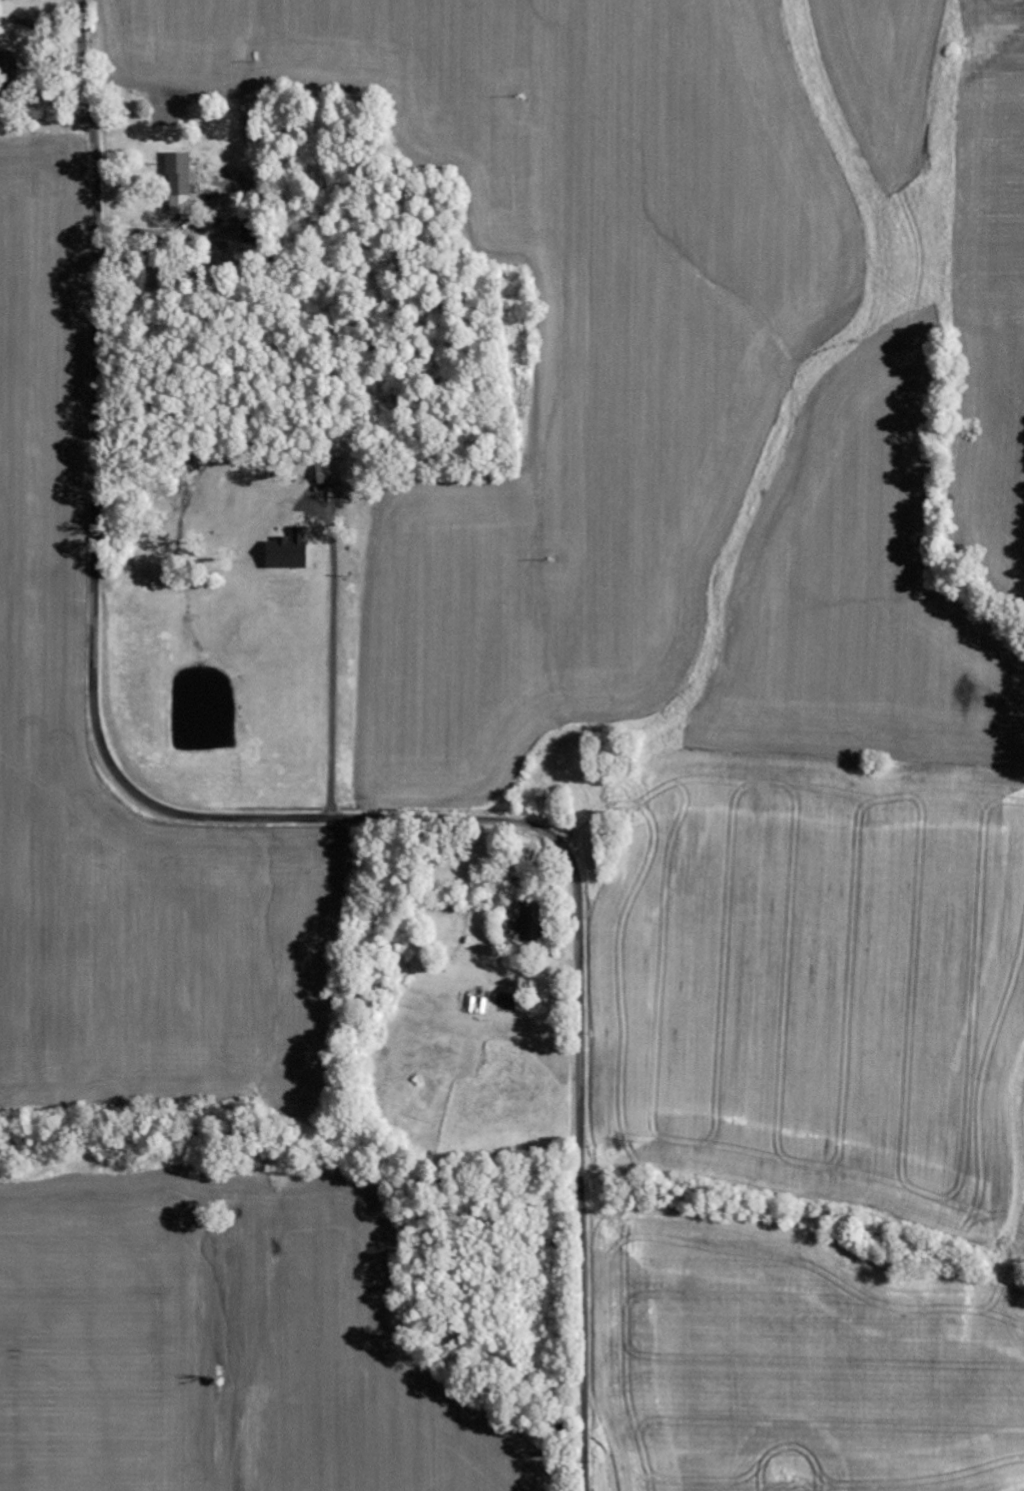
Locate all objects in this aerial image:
building: (8, 63)
building: (181, 182)
building: (332, 474)
building: (290, 551)
road: (268, 820)
building: (531, 922)

